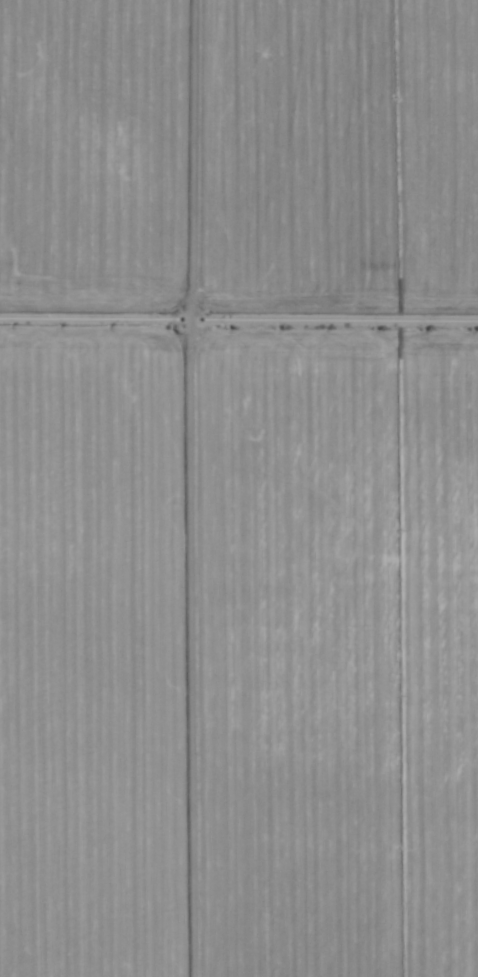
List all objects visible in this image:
crop: (239, 488)

